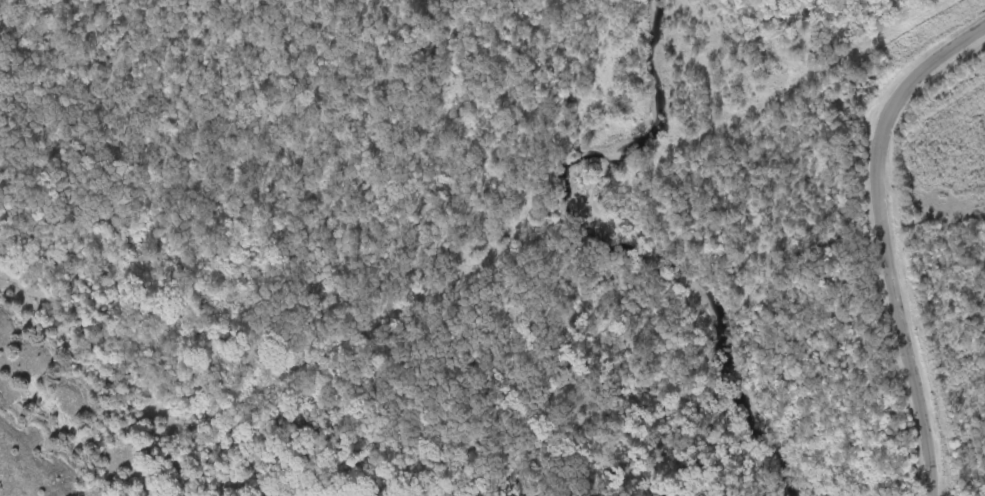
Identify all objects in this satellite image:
road: (892, 244)

